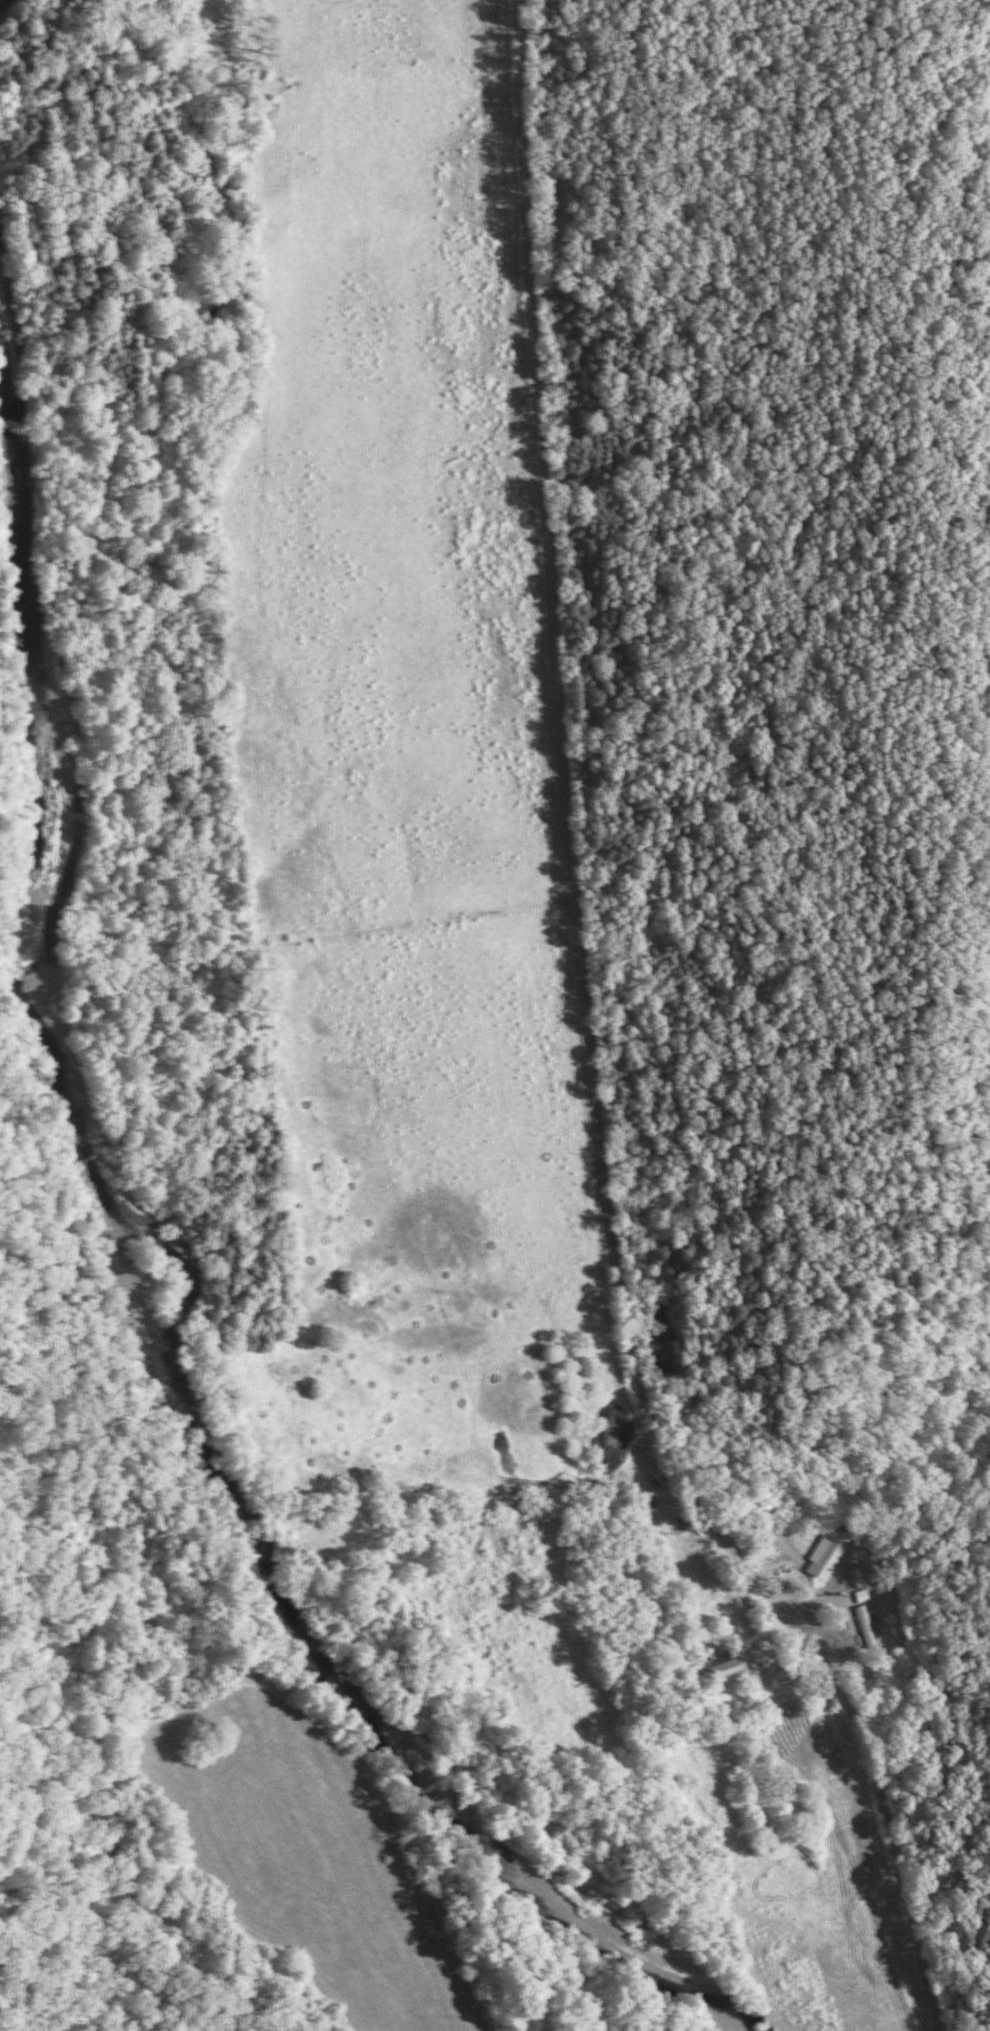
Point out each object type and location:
road: (603, 1057)
building: (759, 1551)
building: (825, 1556)
building: (862, 1628)

